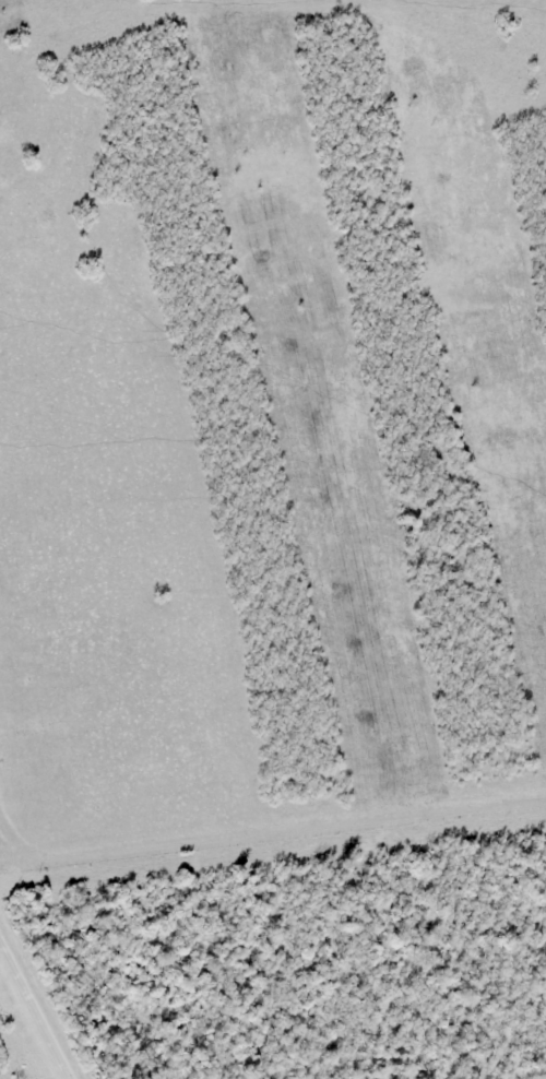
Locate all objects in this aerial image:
road: (37, 1005)

